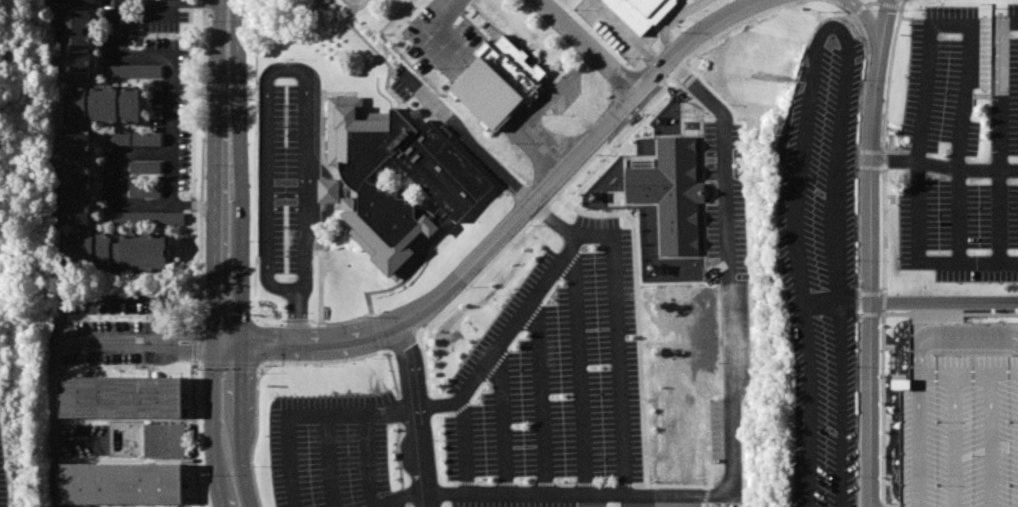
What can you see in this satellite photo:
parking lot: (356, 1)
road: (756, 1)
building: (640, 12)
road: (452, 13)
road: (670, 18)
road: (230, 22)
road: (717, 22)
road: (955, 25)
road: (831, 26)
road: (627, 34)
building: (71, 43)
road: (590, 46)
road: (669, 60)
road: (663, 66)
building: (135, 70)
road: (280, 70)
building: (498, 81)
road: (1002, 89)
road: (171, 104)
building: (104, 107)
road: (539, 108)
road: (466, 137)
building: (135, 139)
parking lot: (962, 145)
building: (72, 154)
road: (202, 165)
road: (946, 165)
building: (146, 168)
road: (117, 178)
building: (145, 191)
building: (352, 191)
road: (535, 198)
building: (72, 203)
road: (958, 216)
road: (1000, 216)
building: (145, 219)
road: (873, 252)
building: (115, 253)
parking lot: (823, 256)
road: (916, 262)
road: (216, 275)
road: (244, 275)
road: (837, 299)
road: (945, 301)
road: (727, 317)
road: (309, 336)
road: (180, 337)
traffic signals: (215, 337)
traffic signals: (245, 337)
road: (504, 339)
road: (93, 344)
road: (200, 346)
road: (180, 351)
traffic signals: (215, 352)
traffic signals: (245, 352)
road: (313, 353)
building: (118, 397)
road: (55, 406)
road: (306, 413)
building: (960, 413)
parking garage: (960, 413)
road: (417, 414)
road: (621, 418)
road: (194, 433)
building: (164, 441)
road: (465, 448)
road: (366, 459)
parking lot: (3, 471)
building: (119, 484)
road: (403, 498)

